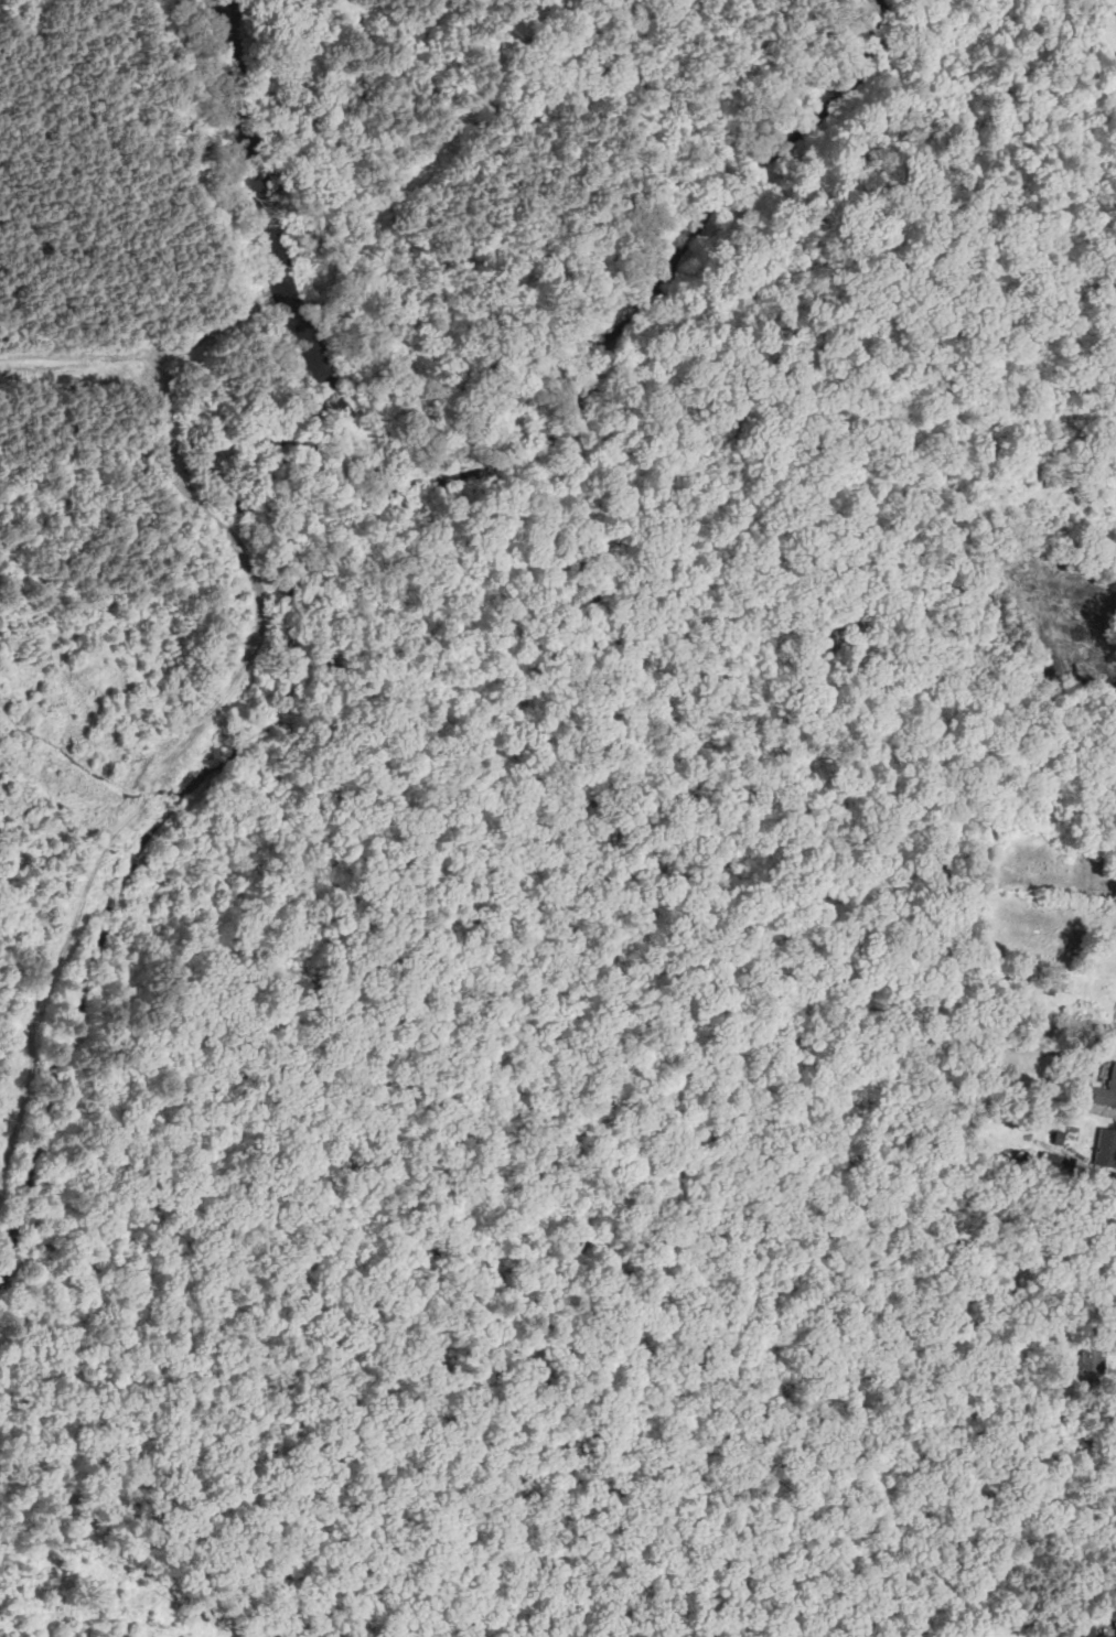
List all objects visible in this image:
building: (998, 980)
building: (1050, 980)
building: (1103, 1090)
building: (1059, 1137)
building: (1105, 1146)
building: (1053, 1159)
building: (1082, 1630)

